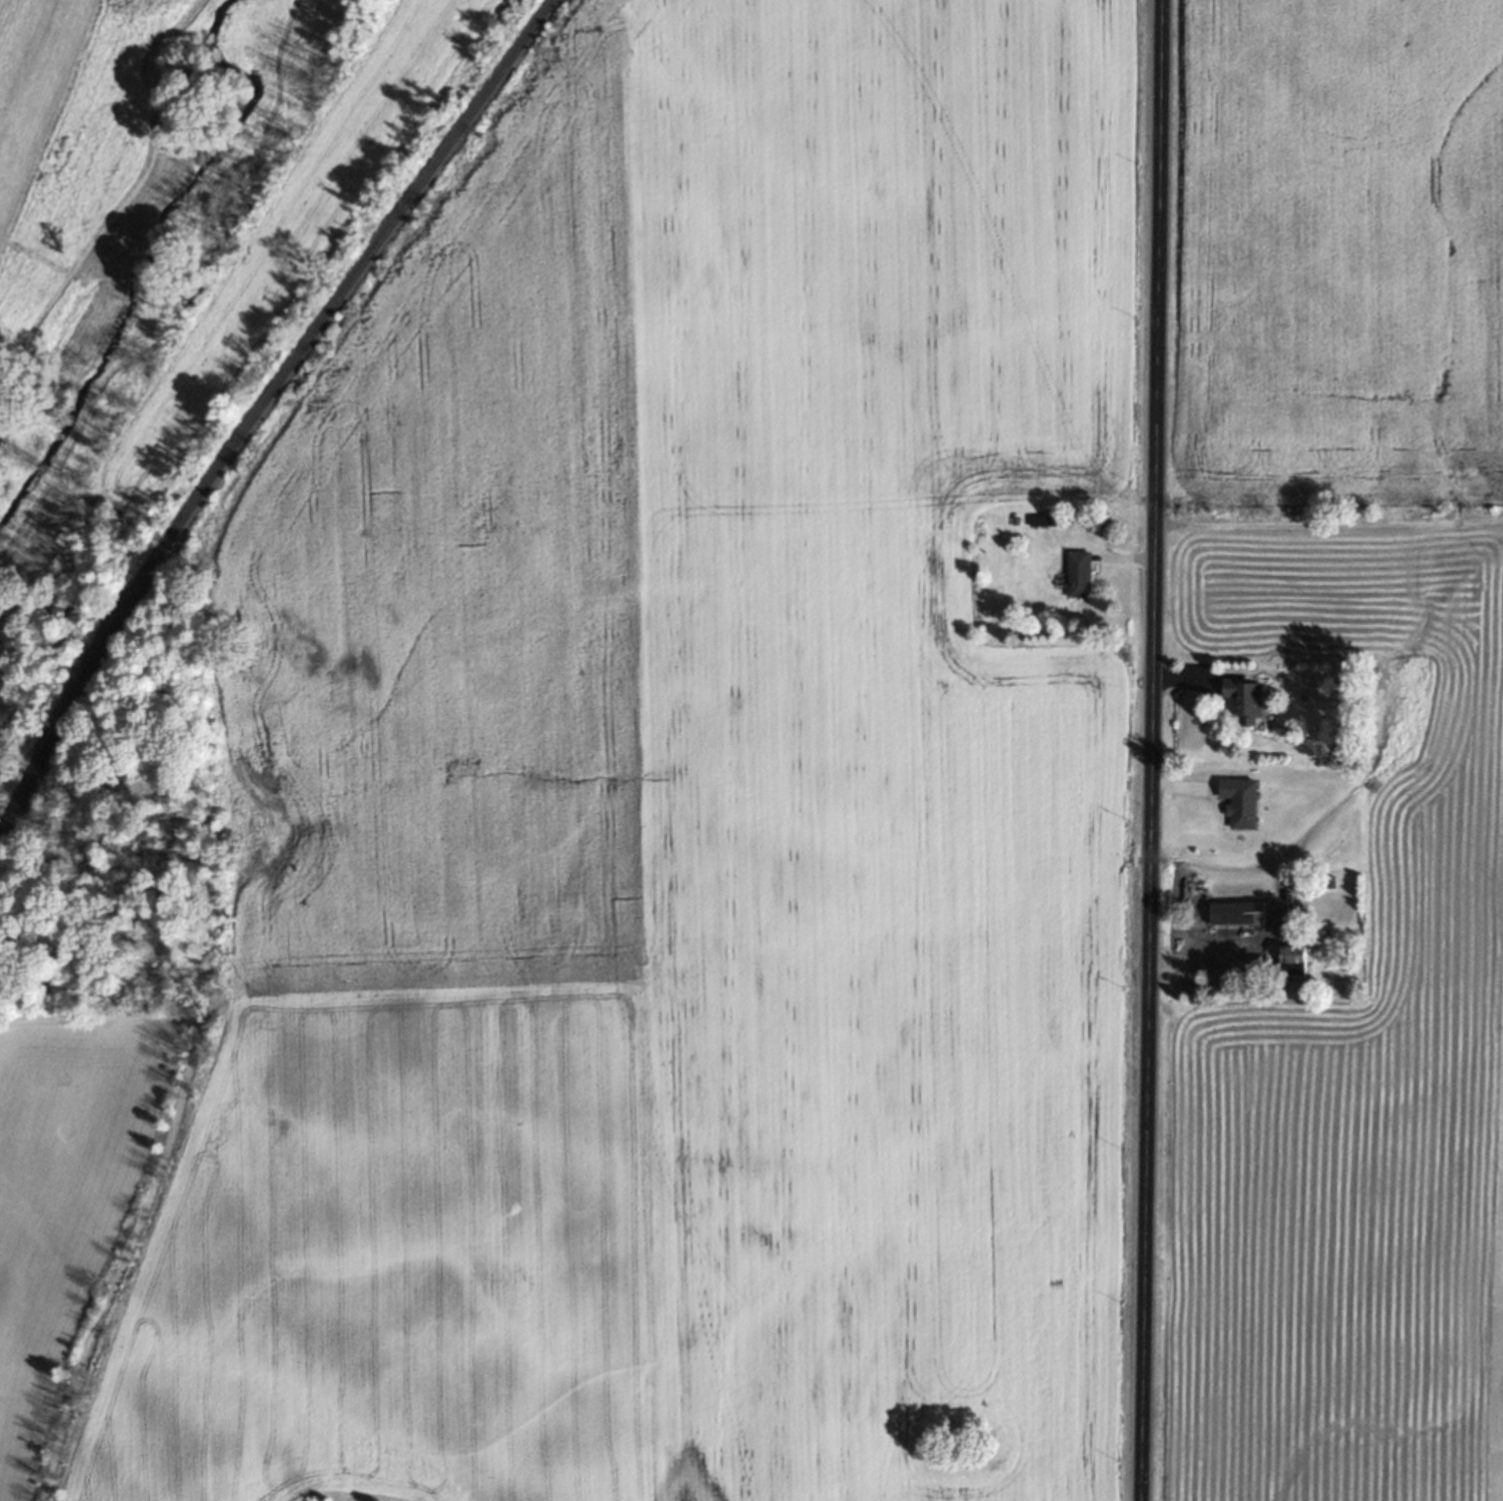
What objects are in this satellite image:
railway: (256, 411)
building: (1041, 520)
building: (1077, 574)
building: (1244, 699)
road: (1150, 750)
building: (1236, 912)
building: (1291, 959)
airport: (1495, 1252)

